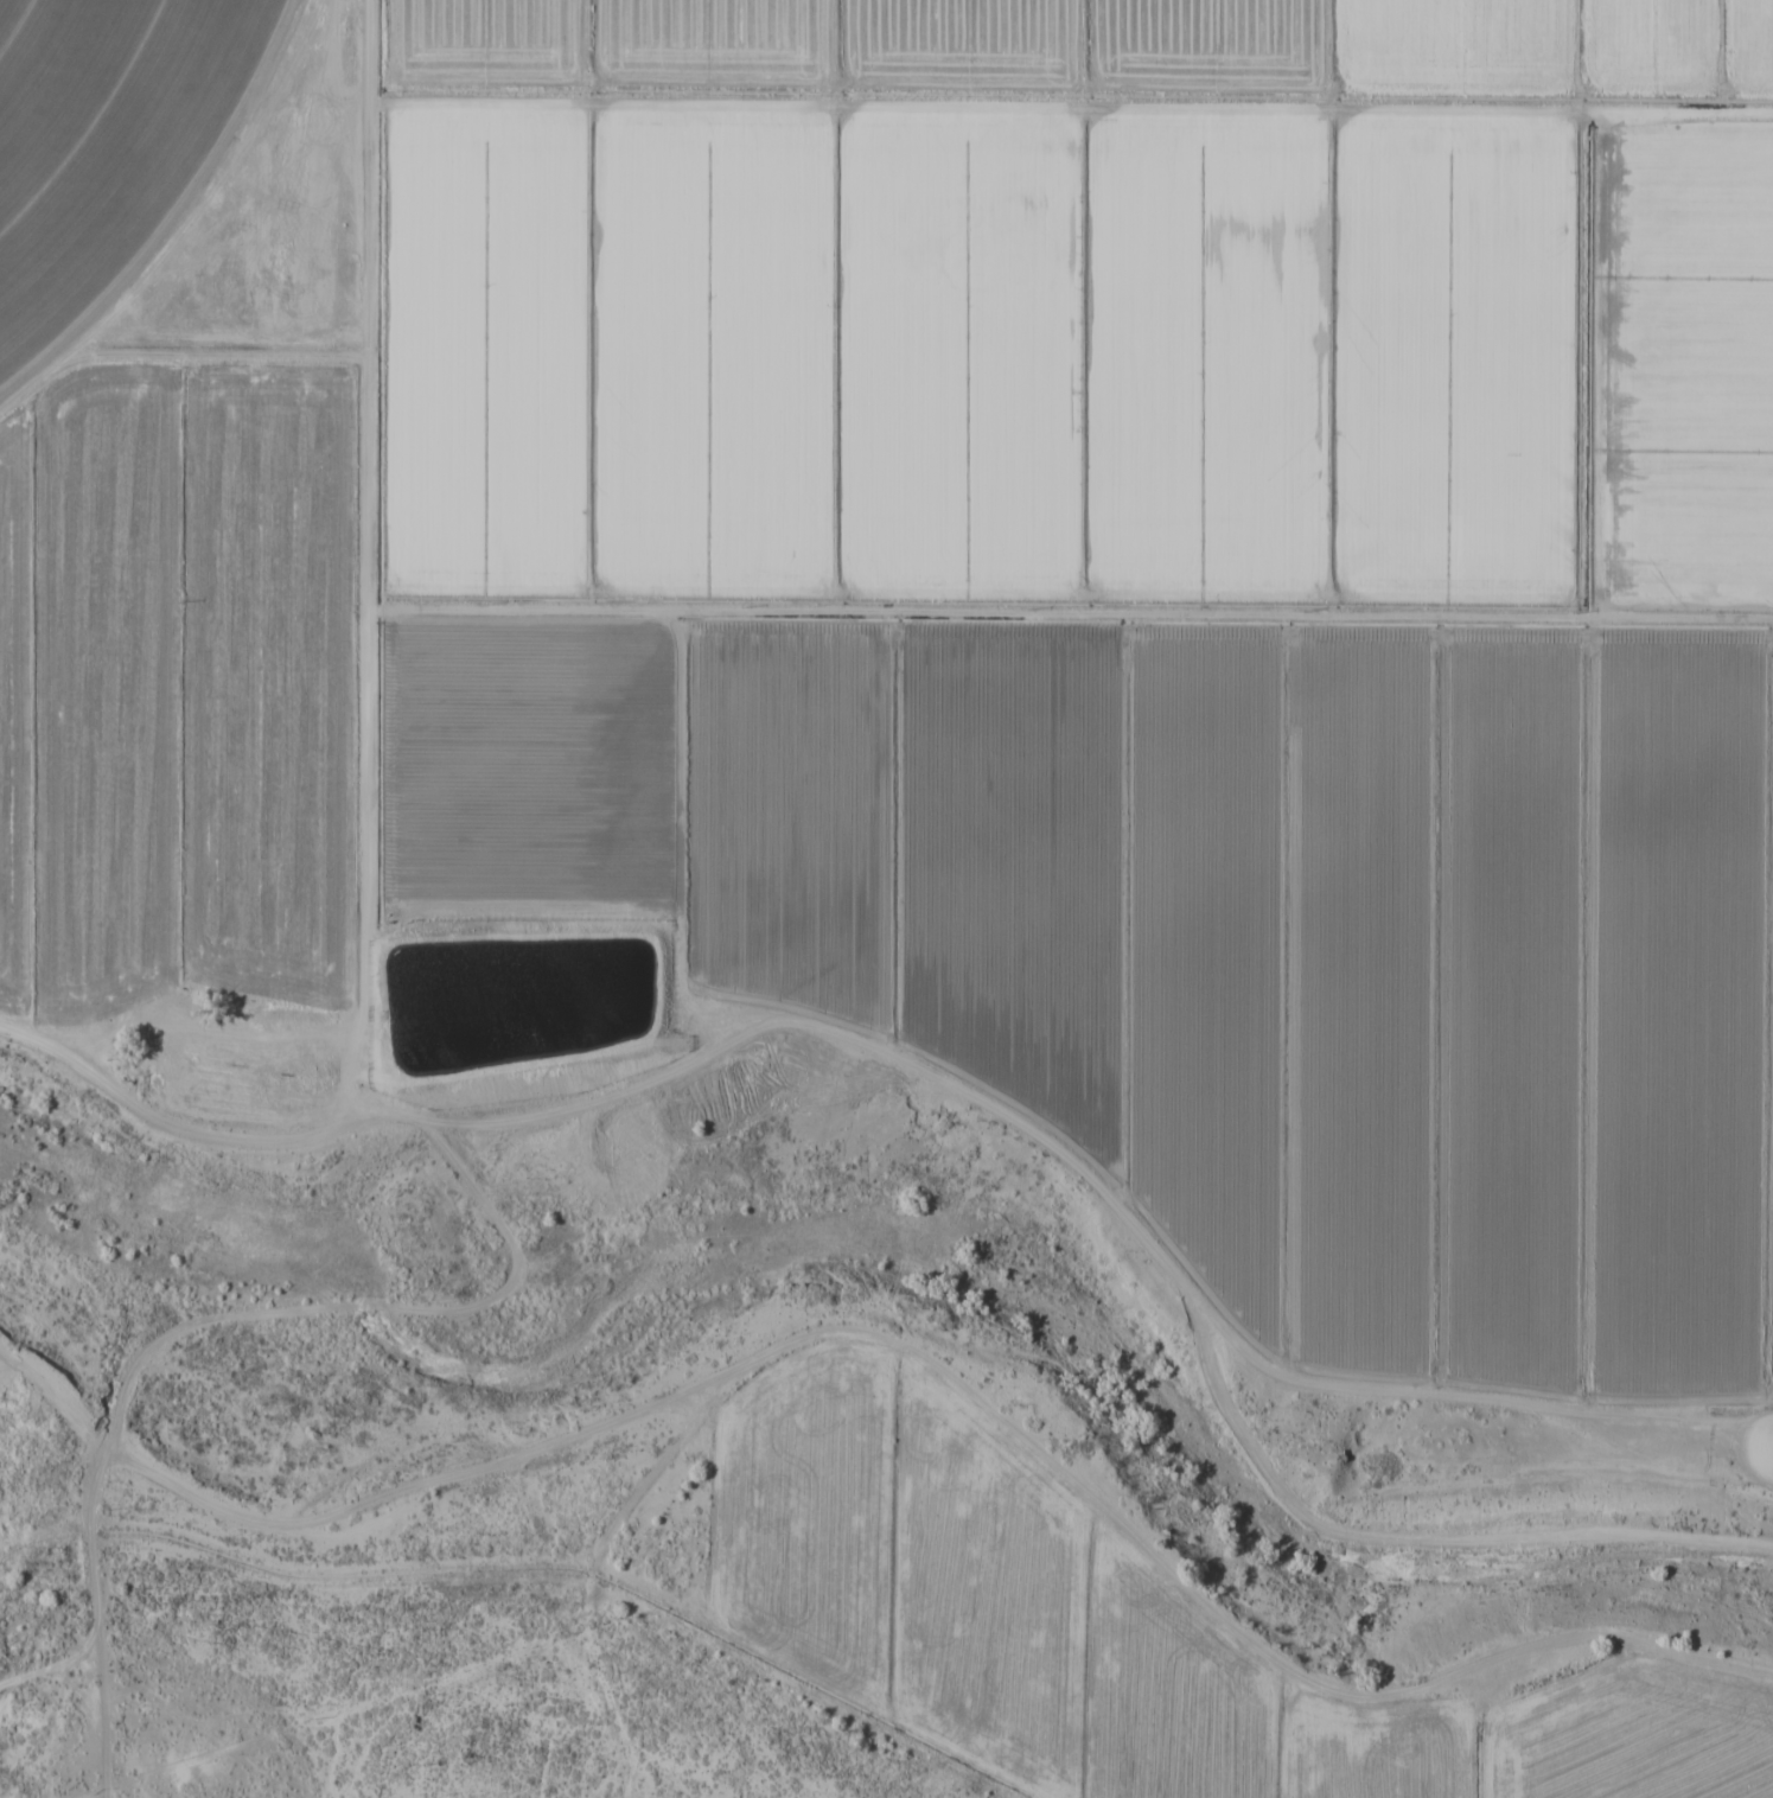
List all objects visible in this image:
road: (366, 562)
road: (1089, 1177)
road: (415, 1312)

